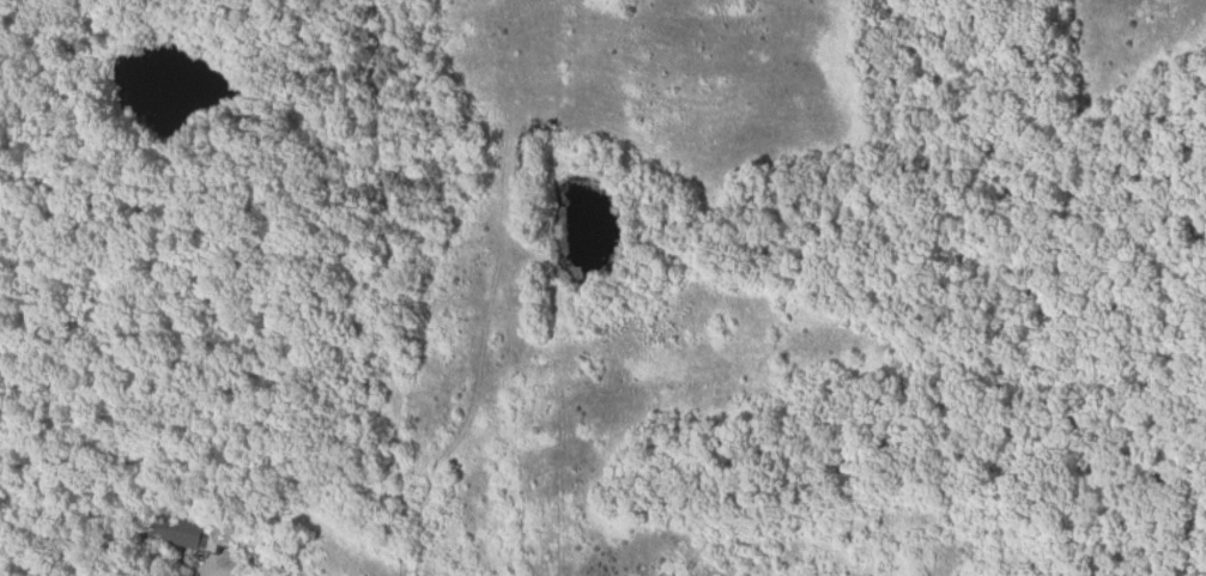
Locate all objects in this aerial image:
building: (183, 530)

